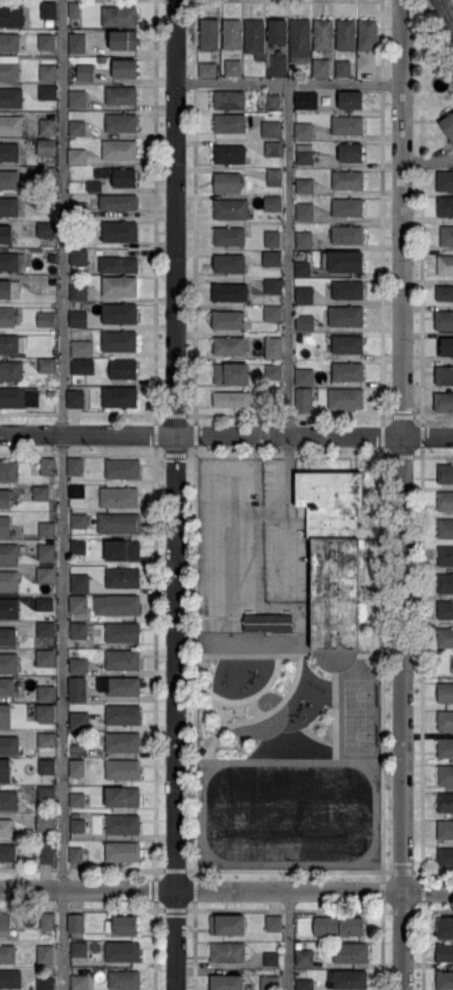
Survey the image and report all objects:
building: (73, 10)
railway: (447, 10)
building: (47, 11)
building: (10, 16)
building: (119, 16)
building: (278, 31)
building: (208, 34)
building: (232, 34)
building: (323, 34)
building: (345, 35)
building: (368, 35)
building: (255, 38)
building: (123, 40)
building: (300, 40)
building: (46, 42)
building: (9, 43)
building: (76, 43)
building: (278, 66)
building: (233, 67)
building: (9, 68)
building: (124, 68)
building: (322, 68)
building: (342, 68)
building: (354, 68)
building: (207, 69)
building: (368, 71)
building: (48, 72)
building: (85, 73)
road: (289, 82)
building: (48, 93)
building: (120, 96)
building: (10, 99)
building: (78, 99)
building: (229, 100)
building: (305, 100)
building: (351, 100)
building: (273, 102)
building: (121, 123)
building: (230, 124)
building: (448, 124)
building: (11, 126)
building: (347, 126)
building: (48, 127)
building: (77, 128)
building: (271, 129)
building: (303, 130)
building: (47, 148)
building: (119, 150)
building: (9, 152)
building: (274, 152)
building: (351, 152)
building: (229, 155)
building: (304, 155)
building: (78, 157)
road: (427, 160)
building: (47, 173)
building: (118, 176)
building: (275, 178)
building: (9, 180)
building: (347, 180)
building: (445, 181)
building: (228, 182)
building: (94, 186)
building: (305, 186)
building: (45, 202)
building: (272, 202)
building: (118, 203)
building: (8, 207)
building: (445, 207)
building: (347, 208)
building: (230, 209)
building: (78, 210)
building: (304, 212)
building: (103, 215)
building: (46, 230)
building: (119, 231)
building: (5, 234)
building: (347, 235)
building: (229, 236)
building: (447, 236)
building: (272, 239)
building: (304, 240)
building: (36, 255)
building: (79, 257)
building: (52, 258)
building: (272, 258)
road: (288, 258)
building: (11, 262)
building: (343, 262)
building: (229, 263)
building: (119, 265)
building: (444, 266)
building: (303, 269)
building: (53, 286)
building: (120, 286)
building: (273, 287)
building: (9, 289)
building: (347, 290)
building: (78, 291)
building: (229, 293)
building: (445, 294)
building: (305, 295)
building: (272, 313)
building: (119, 314)
building: (346, 316)
building: (7, 318)
building: (46, 319)
building: (79, 320)
building: (228, 320)
building: (444, 321)
building: (306, 323)
building: (120, 341)
building: (12, 344)
building: (273, 344)
building: (348, 344)
building: (228, 346)
building: (447, 347)
building: (82, 348)
building: (55, 353)
building: (47, 366)
building: (79, 368)
building: (122, 369)
building: (10, 371)
building: (273, 372)
building: (347, 372)
building: (231, 374)
building: (444, 376)
building: (304, 377)
building: (52, 394)
building: (270, 396)
building: (18, 397)
building: (119, 397)
building: (345, 398)
building: (76, 399)
building: (231, 399)
building: (304, 400)
building: (444, 401)
road: (226, 435)
building: (75, 466)
building: (48, 467)
building: (122, 468)
building: (9, 472)
building: (445, 474)
building: (77, 491)
building: (41, 493)
road: (62, 494)
road: (402, 494)
road: (175, 495)
building: (118, 497)
building: (5, 499)
building: (445, 501)
road: (286, 506)
building: (79, 521)
building: (119, 523)
building: (4, 526)
building: (445, 529)
building: (47, 530)
building: (79, 547)
building: (123, 550)
building: (46, 552)
building: (8, 553)
building: (332, 555)
building: (446, 556)
building: (45, 575)
building: (123, 578)
building: (8, 581)
building: (79, 583)
building: (445, 583)
building: (44, 605)
building: (79, 605)
building: (117, 605)
building: (9, 608)
building: (445, 610)
building: (267, 622)
building: (45, 629)
building: (79, 631)
building: (123, 633)
building: (7, 637)
building: (445, 638)
building: (45, 658)
building: (123, 660)
building: (8, 664)
building: (77, 666)
building: (451, 666)
building: (7, 686)
building: (119, 686)
building: (78, 689)
building: (46, 693)
building: (445, 693)
building: (45, 713)
building: (123, 715)
building: (5, 716)
building: (79, 720)
building: (445, 720)
building: (122, 742)
building: (47, 744)
building: (9, 746)
building: (445, 748)
building: (78, 749)
building: (46, 767)
building: (76, 768)
building: (4, 770)
building: (122, 770)
building: (445, 775)
building: (46, 793)
building: (121, 799)
building: (10, 800)
building: (77, 800)
building: (445, 802)
building: (46, 822)
building: (123, 824)
building: (77, 825)
building: (6, 828)
building: (445, 830)
building: (9, 852)
building: (122, 852)
building: (46, 853)
building: (75, 855)
building: (445, 857)
road: (226, 891)
building: (47, 922)
building: (76, 923)
building: (272, 923)
building: (227, 924)
building: (120, 925)
building: (7, 926)
building: (337, 928)
building: (445, 928)
road: (288, 940)
building: (78, 949)
building: (121, 952)
building: (226, 952)
building: (45, 953)
building: (350, 953)
building: (444, 953)
building: (7, 954)
building: (304, 958)
building: (270, 959)
building: (10, 979)
building: (123, 980)
building: (347, 980)
building: (444, 980)
building: (225, 982)
building: (45, 983)
building: (79, 983)
building: (269, 983)
building: (304, 985)

